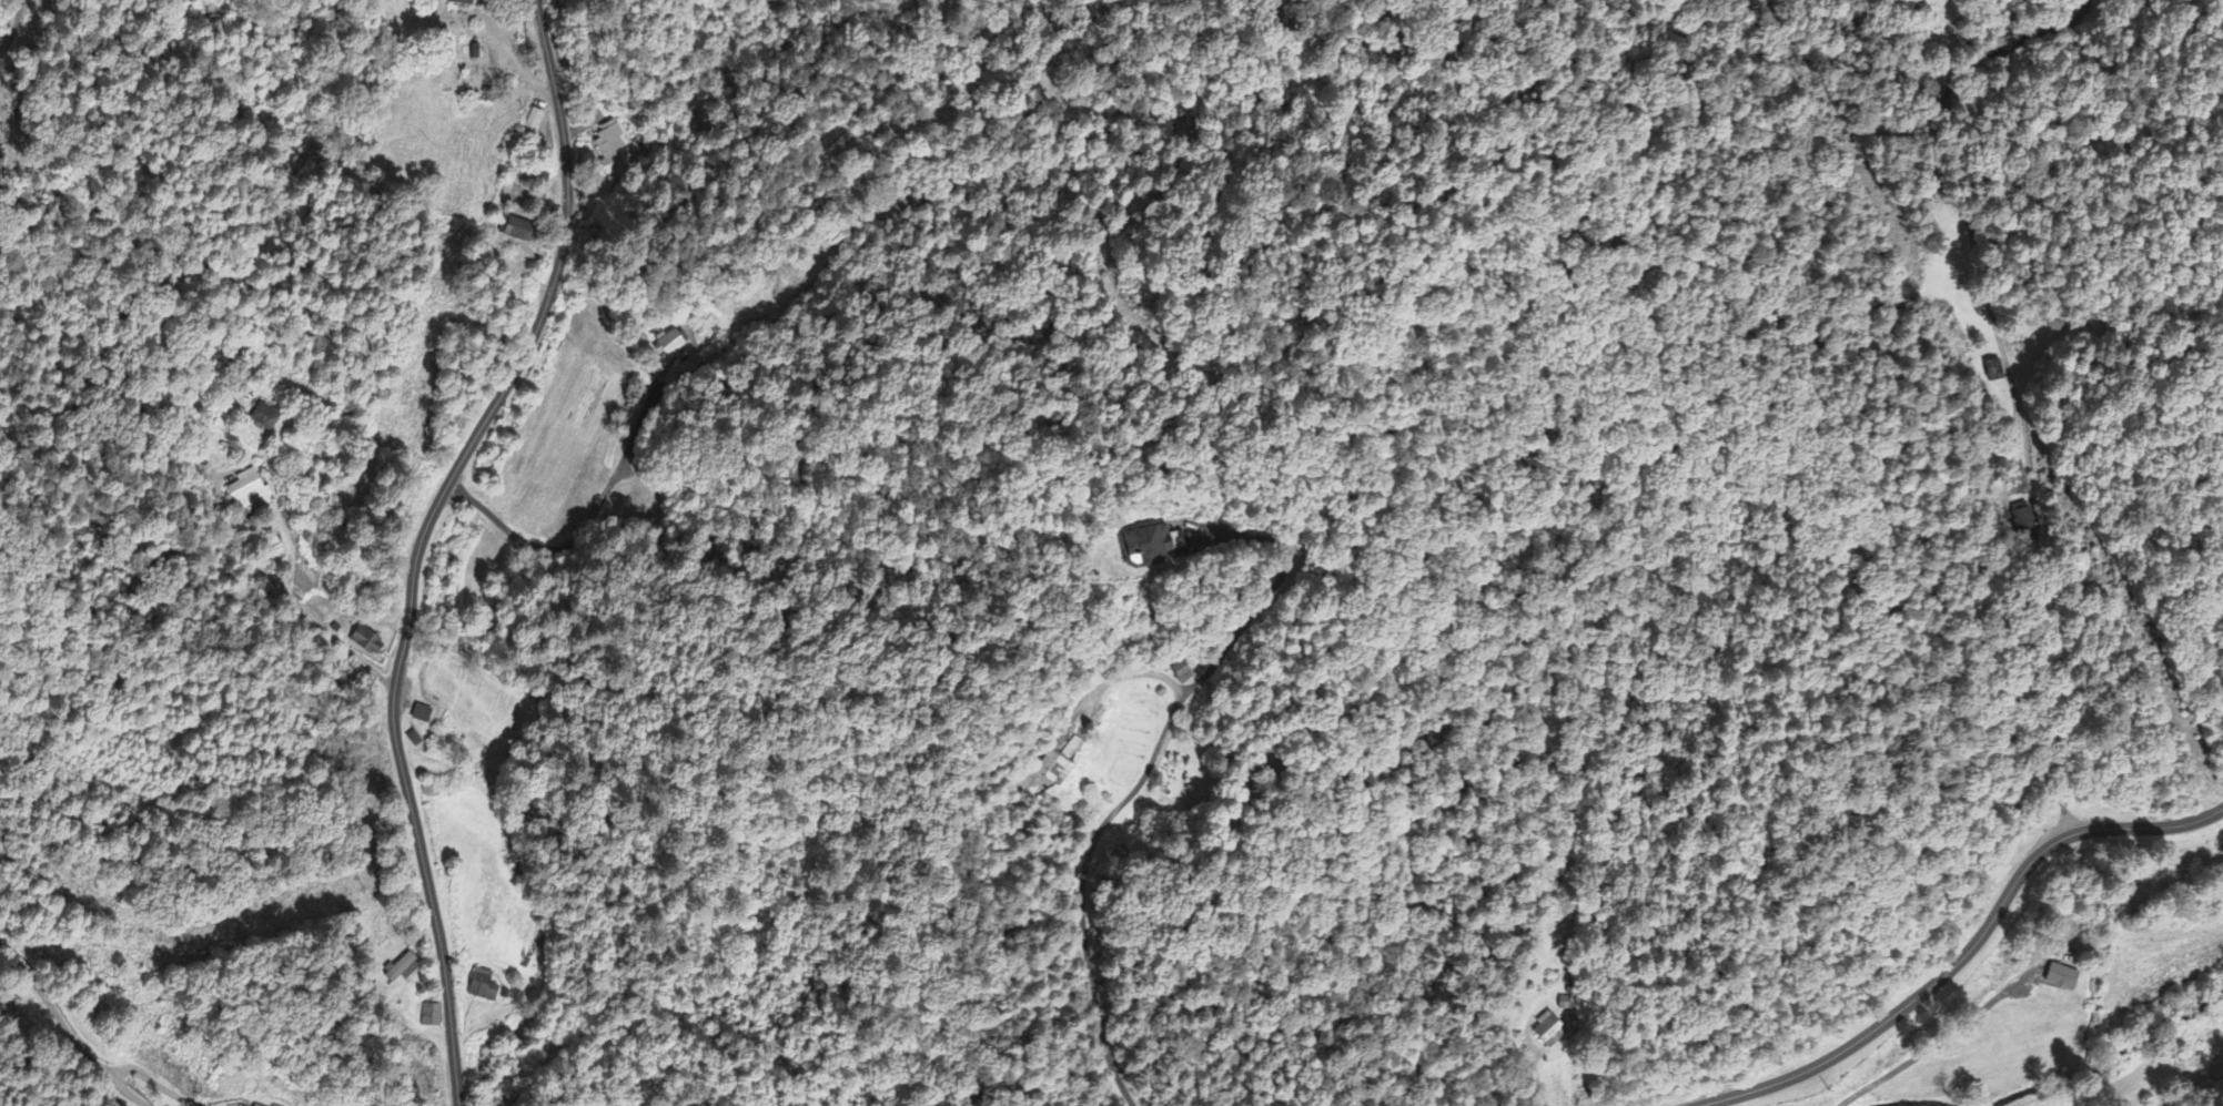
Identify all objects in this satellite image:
building: (462, 3)
road: (518, 60)
building: (536, 122)
building: (614, 150)
building: (518, 233)
building: (676, 344)
building: (1992, 374)
road: (2003, 379)
building: (264, 419)
building: (250, 494)
building: (2019, 518)
road: (421, 538)
road: (284, 546)
building: (1151, 548)
road: (1244, 625)
building: (368, 642)
building: (1183, 676)
building: (1052, 771)
road: (1082, 892)
road: (1974, 942)
building: (403, 972)
building: (2064, 980)
building: (485, 988)
road: (65, 1032)
building: (1545, 1033)

